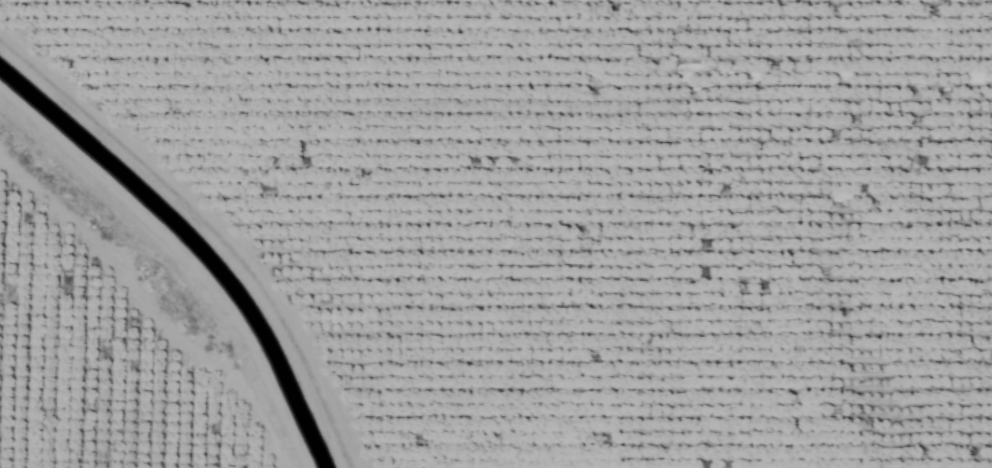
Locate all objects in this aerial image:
crop: (496, 234)

